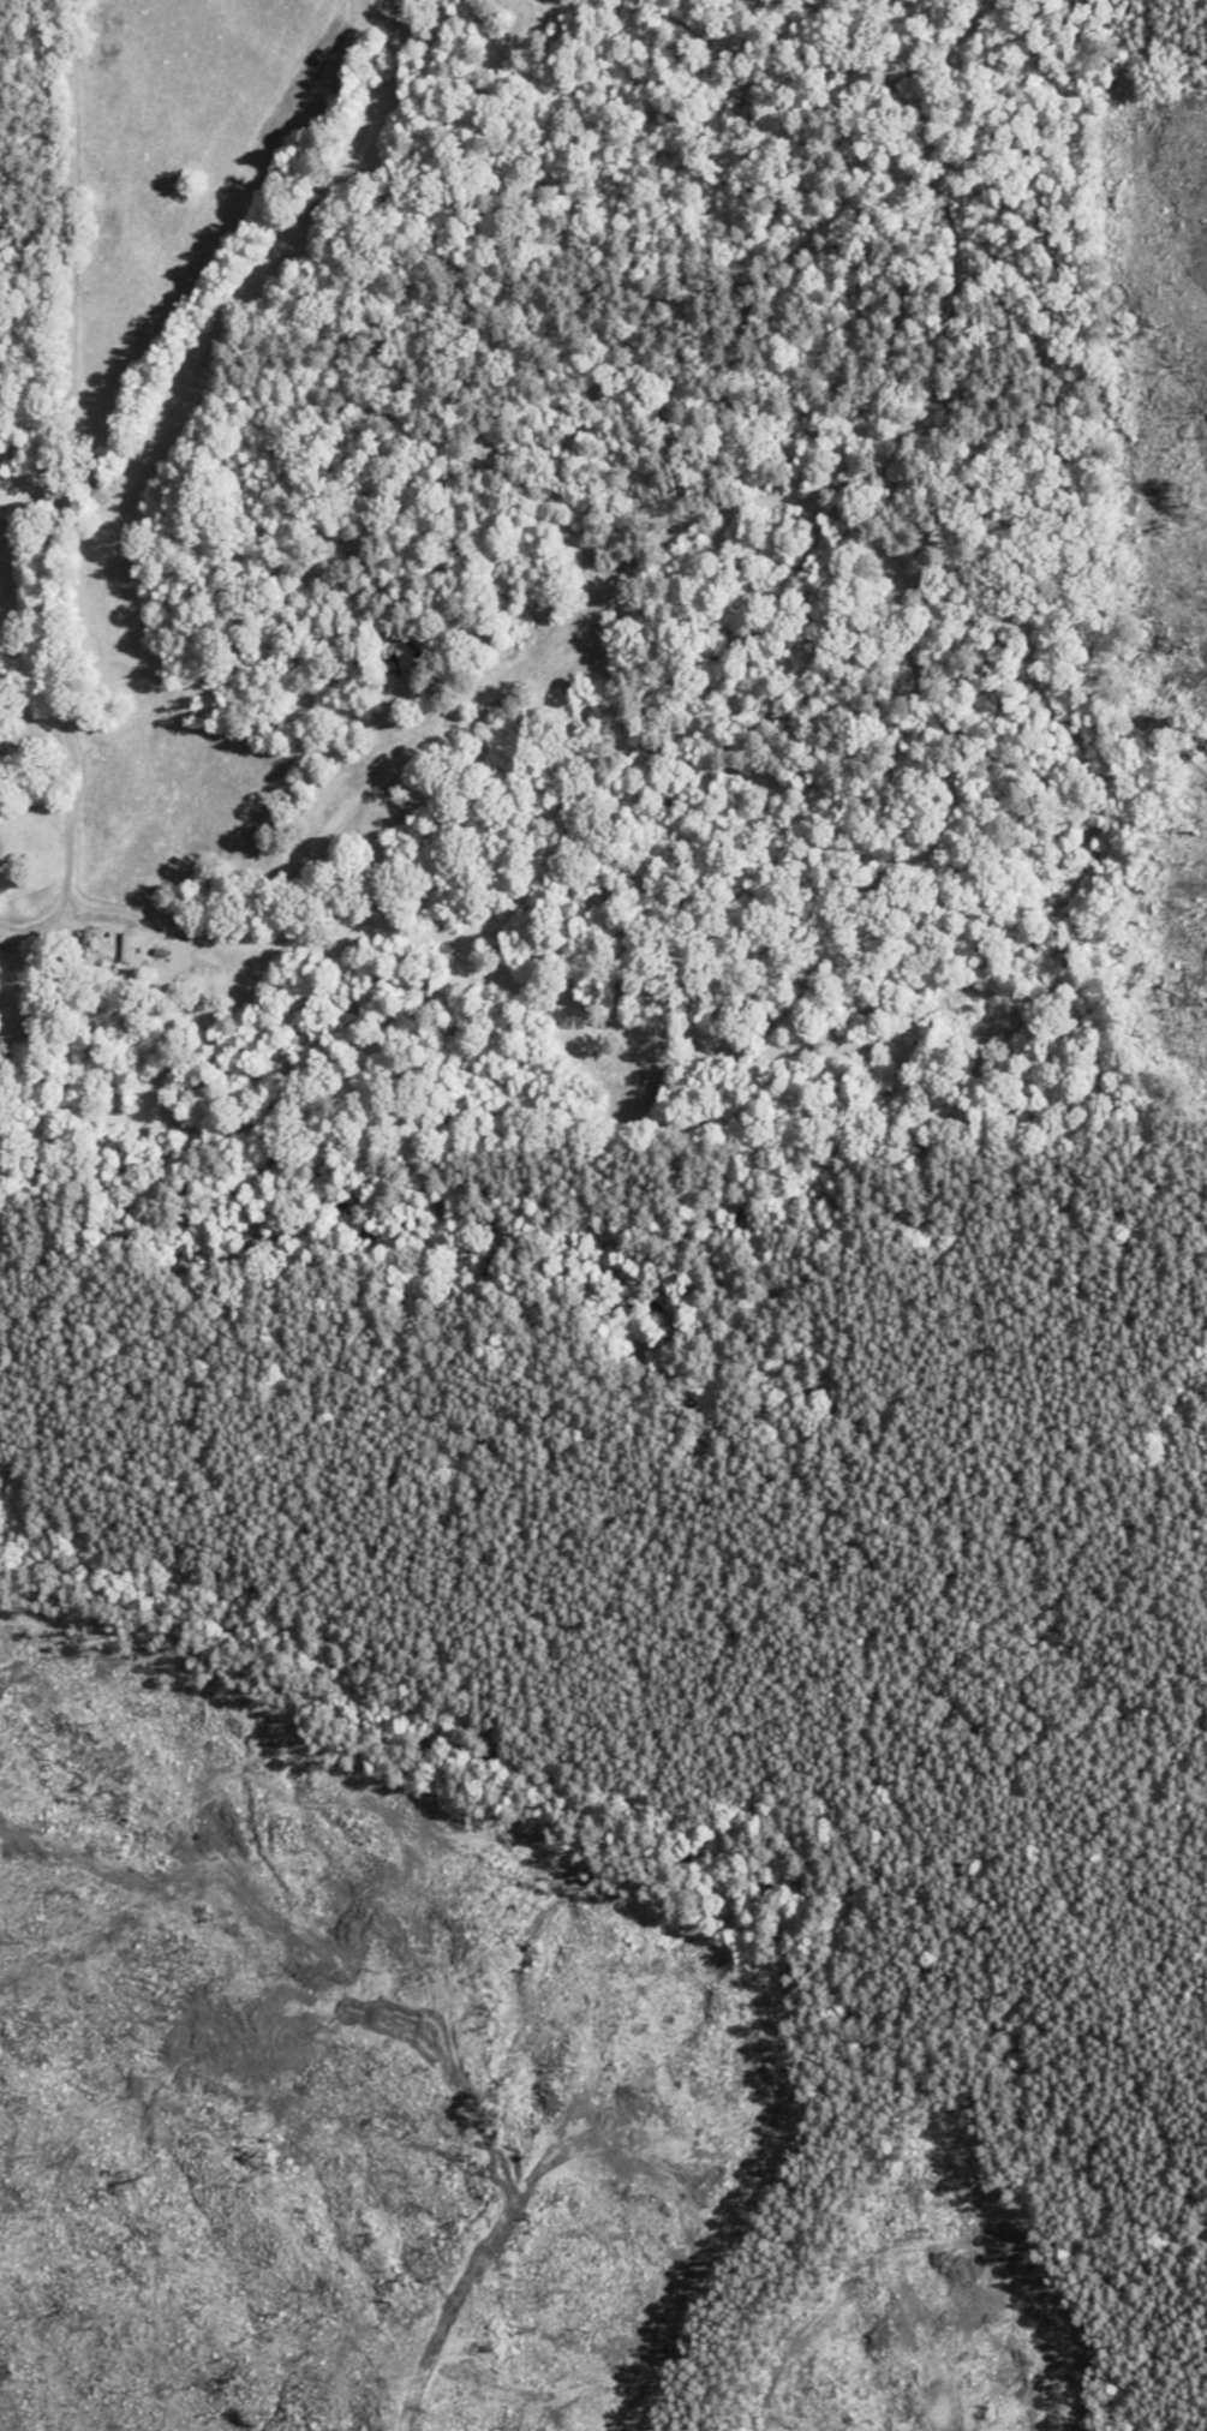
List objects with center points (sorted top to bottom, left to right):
road: (17, 532)

